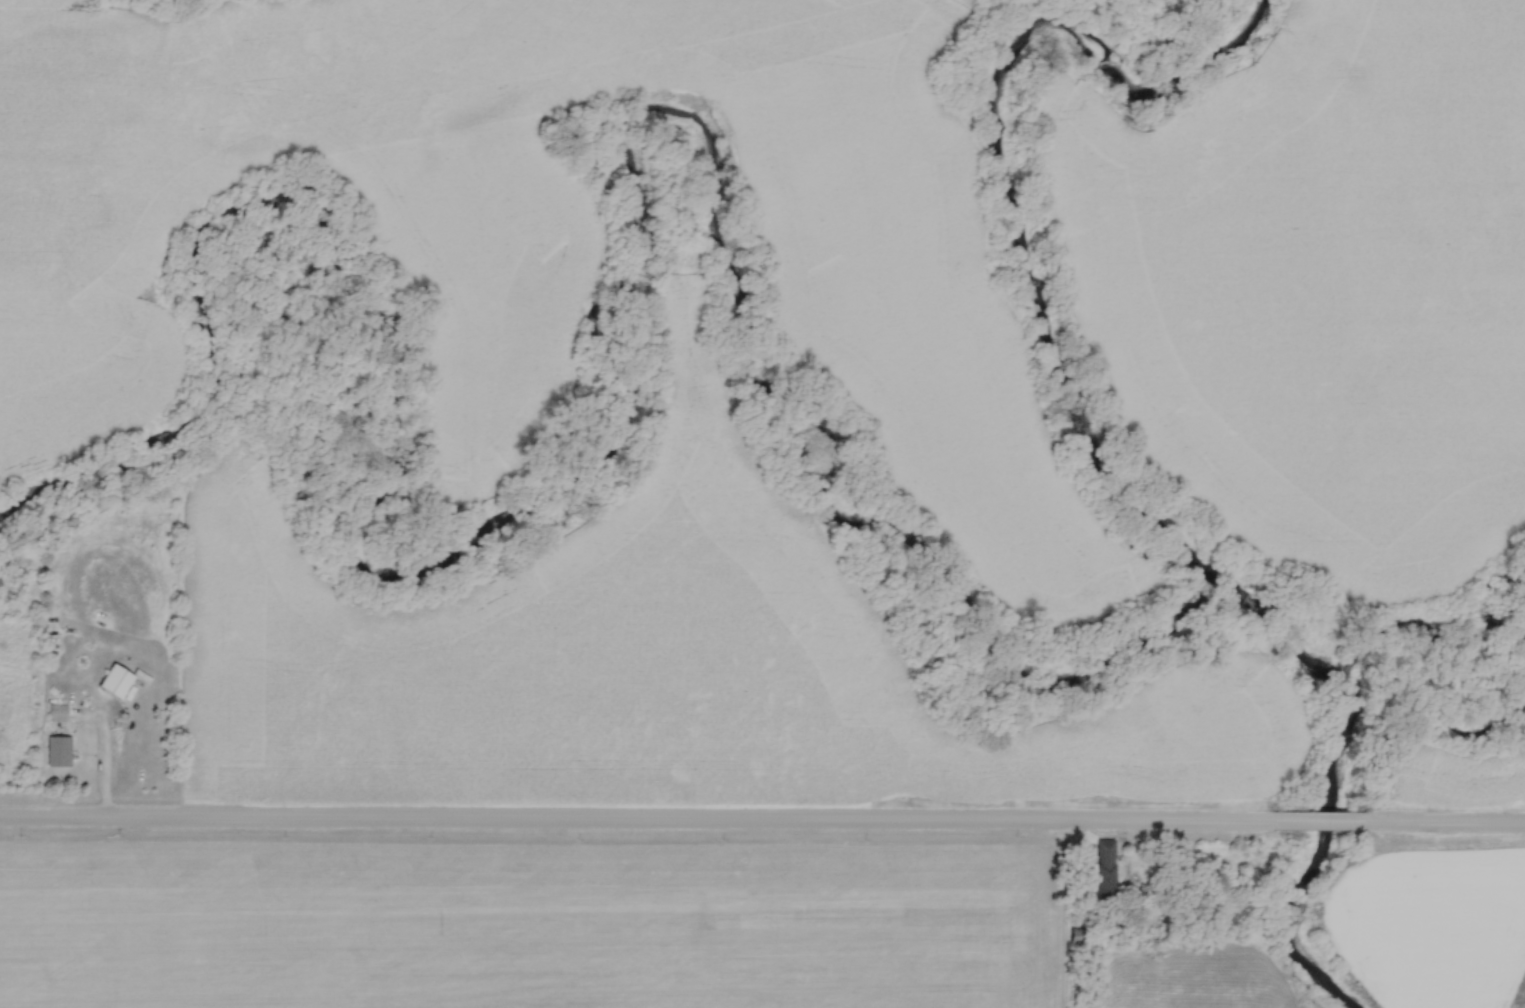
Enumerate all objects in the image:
river: (599, 397)
river: (1087, 429)
building: (114, 683)
building: (56, 714)
building: (57, 753)
road: (103, 763)
road: (1331, 818)
road: (1444, 820)
road: (649, 823)
building: (1105, 872)
crop: (520, 923)

